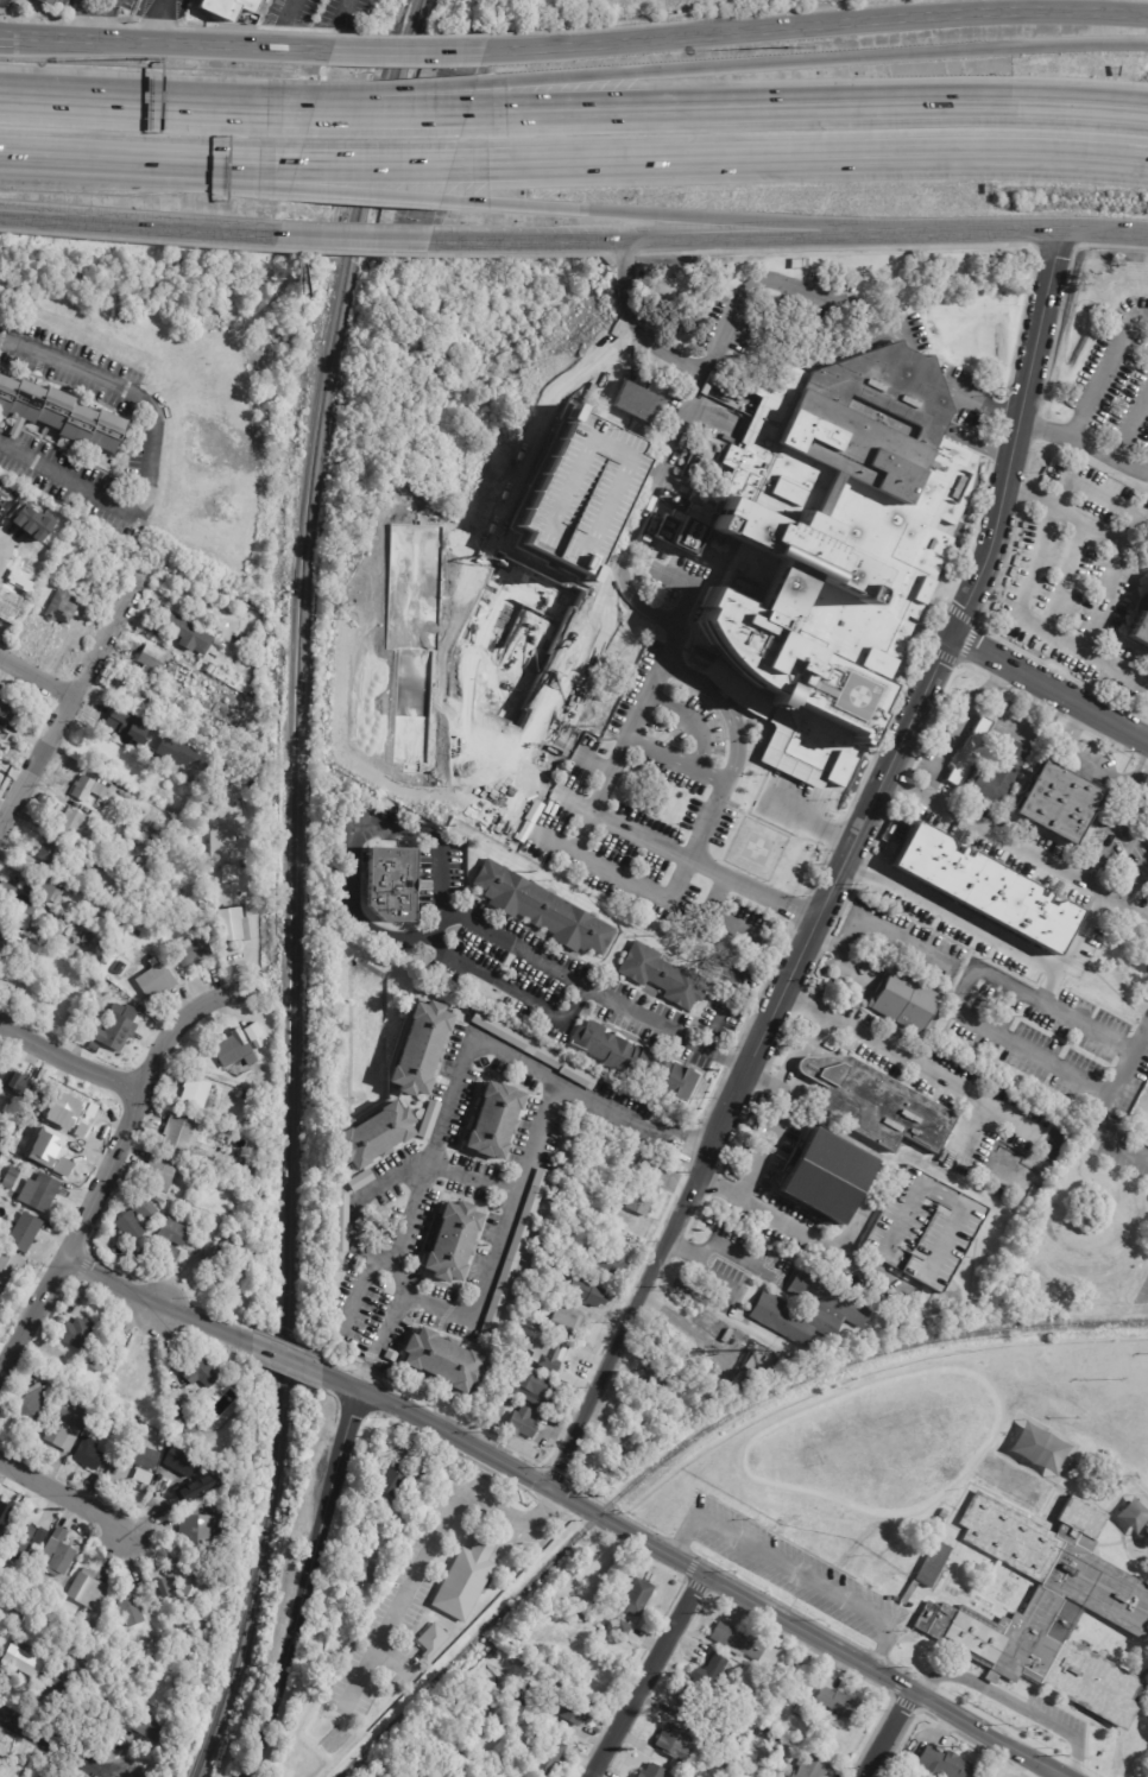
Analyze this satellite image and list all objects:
building: (45, 2)
road: (76, 2)
building: (227, 7)
road: (345, 10)
road: (290, 11)
road: (81, 13)
road: (154, 20)
road: (818, 25)
road: (8, 37)
road: (175, 42)
road: (410, 50)
road: (814, 61)
road: (399, 89)
road: (118, 99)
road: (277, 100)
road: (809, 106)
road: (276, 107)
road: (392, 112)
road: (802, 154)
road: (68, 156)
road: (219, 159)
road: (379, 160)
road: (215, 175)
road: (368, 196)
road: (683, 217)
road: (139, 228)
road: (1104, 233)
road: (135, 238)
road: (355, 240)
road: (746, 241)
road: (1112, 245)
road: (1054, 247)
road: (846, 248)
road: (348, 251)
road: (519, 253)
road: (624, 253)
road: (690, 367)
road: (1092, 391)
building: (633, 400)
parking lot: (1104, 404)
road: (983, 406)
building: (61, 413)
road: (1133, 420)
road: (1011, 434)
building: (752, 447)
road: (1109, 448)
road: (146, 454)
road: (1068, 474)
building: (1, 498)
building: (578, 500)
parking lot: (578, 500)
building: (831, 514)
building: (29, 518)
road: (627, 527)
building: (17, 530)
road: (1098, 532)
road: (1, 548)
road: (510, 573)
road: (1065, 581)
road: (690, 583)
road: (453, 587)
road: (1105, 595)
parking lot: (1081, 596)
parking lot: (473, 606)
building: (64, 607)
road: (1030, 627)
building: (190, 633)
building: (1143, 633)
building: (220, 646)
building: (181, 657)
building: (154, 658)
building: (877, 663)
building: (213, 668)
road: (37, 676)
road: (708, 690)
road: (1047, 693)
building: (139, 695)
road: (74, 696)
building: (6, 703)
road: (692, 719)
building: (119, 720)
road: (957, 725)
building: (1, 731)
building: (971, 751)
building: (179, 752)
road: (1084, 758)
building: (106, 759)
road: (671, 759)
building: (998, 773)
road: (545, 784)
road: (745, 786)
building: (90, 790)
building: (1066, 795)
building: (143, 810)
parking lot: (662, 811)
road: (807, 814)
road: (1116, 817)
building: (76, 822)
road: (534, 822)
building: (134, 827)
building: (223, 846)
building: (151, 847)
helipad: (757, 848)
building: (55, 852)
building: (121, 859)
building: (143, 861)
building: (105, 865)
building: (227, 873)
road: (677, 877)
building: (132, 878)
building: (400, 879)
building: (992, 881)
road: (1135, 881)
building: (44, 886)
railway: (292, 886)
building: (8, 888)
road: (714, 896)
road: (1123, 905)
road: (449, 911)
building: (21, 915)
building: (235, 927)
road: (1079, 930)
building: (137, 934)
building: (266, 934)
road: (253, 935)
building: (589, 935)
road: (887, 935)
building: (89, 941)
building: (10, 944)
building: (58, 944)
building: (196, 953)
road: (840, 954)
road: (497, 976)
building: (157, 981)
road: (1046, 985)
road: (960, 989)
building: (115, 995)
building: (909, 1003)
road: (714, 1029)
building: (251, 1031)
building: (120, 1033)
building: (517, 1039)
building: (424, 1043)
building: (259, 1044)
road: (797, 1044)
building: (236, 1051)
road: (907, 1060)
road: (69, 1061)
building: (630, 1061)
road: (752, 1061)
building: (581, 1077)
building: (245, 1087)
building: (0, 1092)
building: (197, 1096)
building: (870, 1100)
road: (137, 1101)
road: (1104, 1106)
building: (80, 1113)
building: (498, 1119)
building: (433, 1121)
road: (774, 1126)
road: (976, 1127)
building: (183, 1136)
building: (377, 1136)
building: (62, 1155)
building: (940, 1155)
building: (17, 1170)
building: (833, 1172)
building: (163, 1175)
building: (0, 1178)
road: (393, 1178)
building: (364, 1181)
building: (11, 1182)
building: (592, 1188)
building: (649, 1188)
building: (43, 1191)
road: (415, 1194)
building: (138, 1221)
building: (346, 1225)
building: (927, 1225)
building: (233, 1229)
road: (802, 1229)
building: (26, 1233)
building: (176, 1234)
building: (458, 1237)
road: (718, 1244)
building: (172, 1253)
building: (517, 1254)
building: (612, 1261)
building: (222, 1263)
building: (10, 1267)
road: (712, 1276)
building: (541, 1278)
road: (355, 1291)
building: (588, 1292)
building: (2, 1298)
road: (156, 1304)
building: (353, 1304)
building: (814, 1310)
road: (32, 1315)
building: (541, 1324)
building: (564, 1324)
building: (77, 1332)
road: (380, 1339)
building: (444, 1355)
building: (105, 1357)
building: (551, 1357)
road: (286, 1358)
building: (752, 1360)
building: (509, 1365)
building: (138, 1370)
building: (200, 1377)
building: (736, 1377)
building: (751, 1377)
road: (340, 1380)
building: (682, 1380)
building: (652, 1381)
building: (532, 1387)
building: (99, 1390)
building: (92, 1402)
building: (513, 1402)
building: (36, 1403)
building: (128, 1405)
building: (113, 1412)
building: (215, 1422)
building: (69, 1424)
building: (122, 1424)
building: (524, 1424)
building: (193, 1427)
road: (455, 1434)
railway: (687, 1441)
building: (174, 1452)
building: (89, 1453)
building: (146, 1461)
building: (422, 1475)
building: (182, 1480)
building: (393, 1484)
road: (788, 1485)
road: (62, 1494)
building: (5, 1514)
building: (942, 1514)
building: (200, 1531)
building: (897, 1531)
building: (40, 1537)
building: (20, 1541)
road: (428, 1548)
building: (891, 1550)
building: (32, 1552)
building: (58, 1555)
building: (928, 1568)
parking lot: (793, 1572)
road: (796, 1572)
building: (362, 1576)
building: (468, 1579)
building: (189, 1580)
road: (304, 1583)
building: (166, 1587)
building: (29, 1589)
building: (89, 1594)
building: (639, 1598)
building: (150, 1599)
building: (1049, 1608)
building: (39, 1611)
building: (133, 1612)
building: (578, 1613)
building: (17, 1615)
building: (625, 1629)
building: (202, 1633)
road: (807, 1634)
building: (435, 1640)
building: (737, 1642)
building: (189, 1648)
building: (176, 1656)
building: (25, 1661)
building: (709, 1671)
building: (4, 1672)
building: (389, 1675)
road: (643, 1676)
building: (795, 1681)
building: (61, 1683)
building: (492, 1684)
building: (523, 1695)
building: (689, 1701)
building: (835, 1702)
building: (143, 1705)
building: (486, 1706)
road: (1016, 1706)
building: (103, 1707)
building: (800, 1707)
building: (575, 1709)
building: (757, 1712)
parking lot: (1058, 1712)
building: (147, 1726)
building: (498, 1727)
building: (764, 1732)
road: (889, 1734)
building: (711, 1735)
building: (671, 1743)
road: (55, 1745)
building: (549, 1756)
building: (942, 1765)
building: (808, 1767)
building: (740, 1769)
building: (651, 1771)
building: (446, 1772)
building: (13, 1776)

